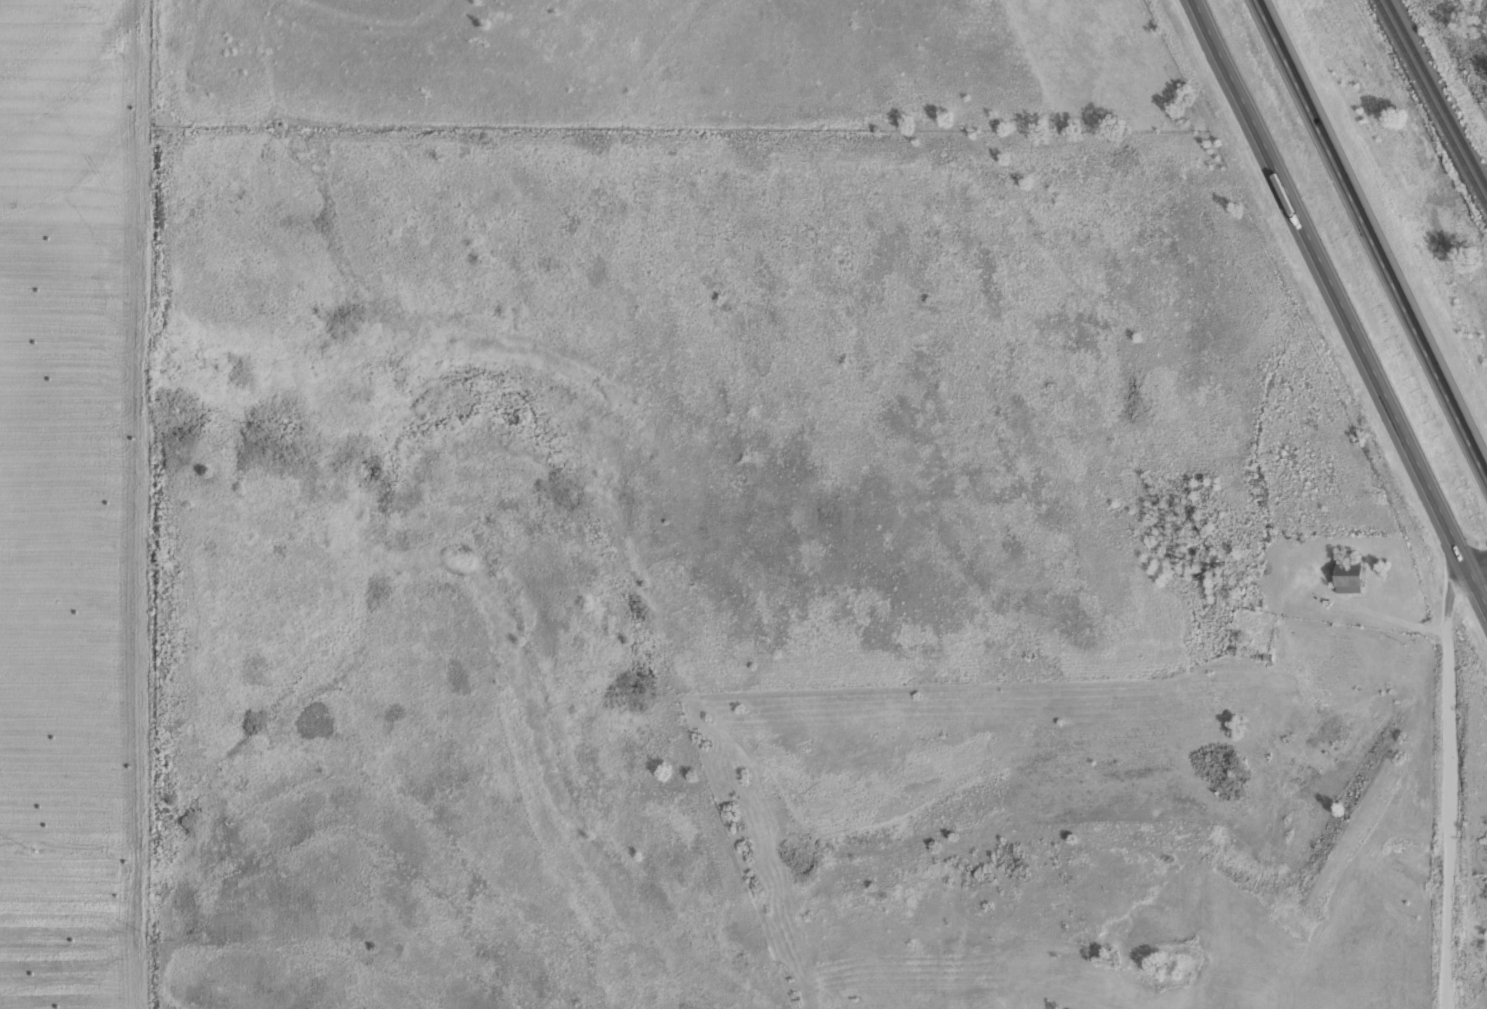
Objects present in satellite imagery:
railway: (1439, 91)
railway: (1430, 105)
road: (1377, 229)
road: (1341, 301)
building: (1348, 574)
road: (1453, 773)

